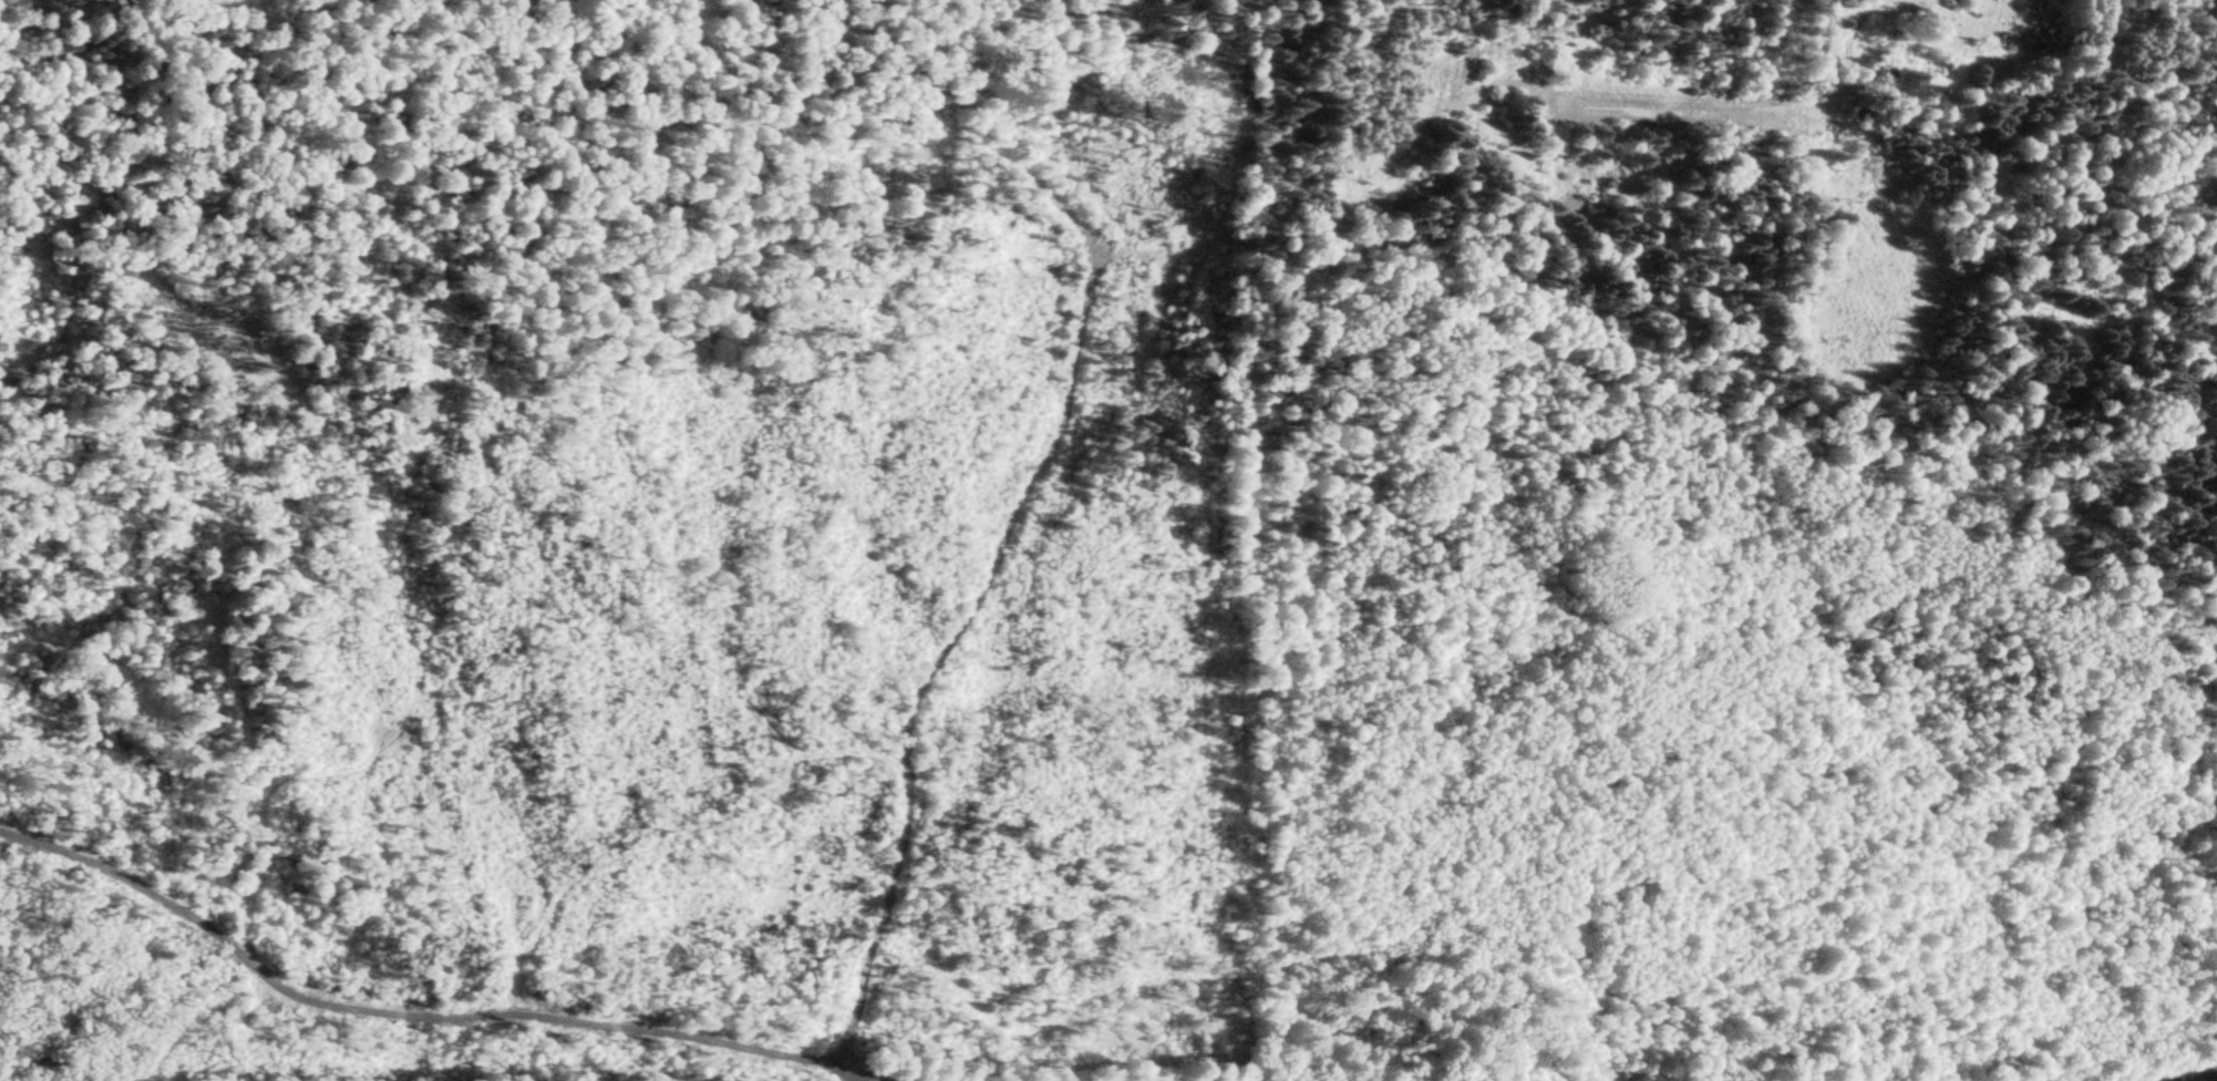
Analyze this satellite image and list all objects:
road: (425, 1003)
road: (2206, 1077)

